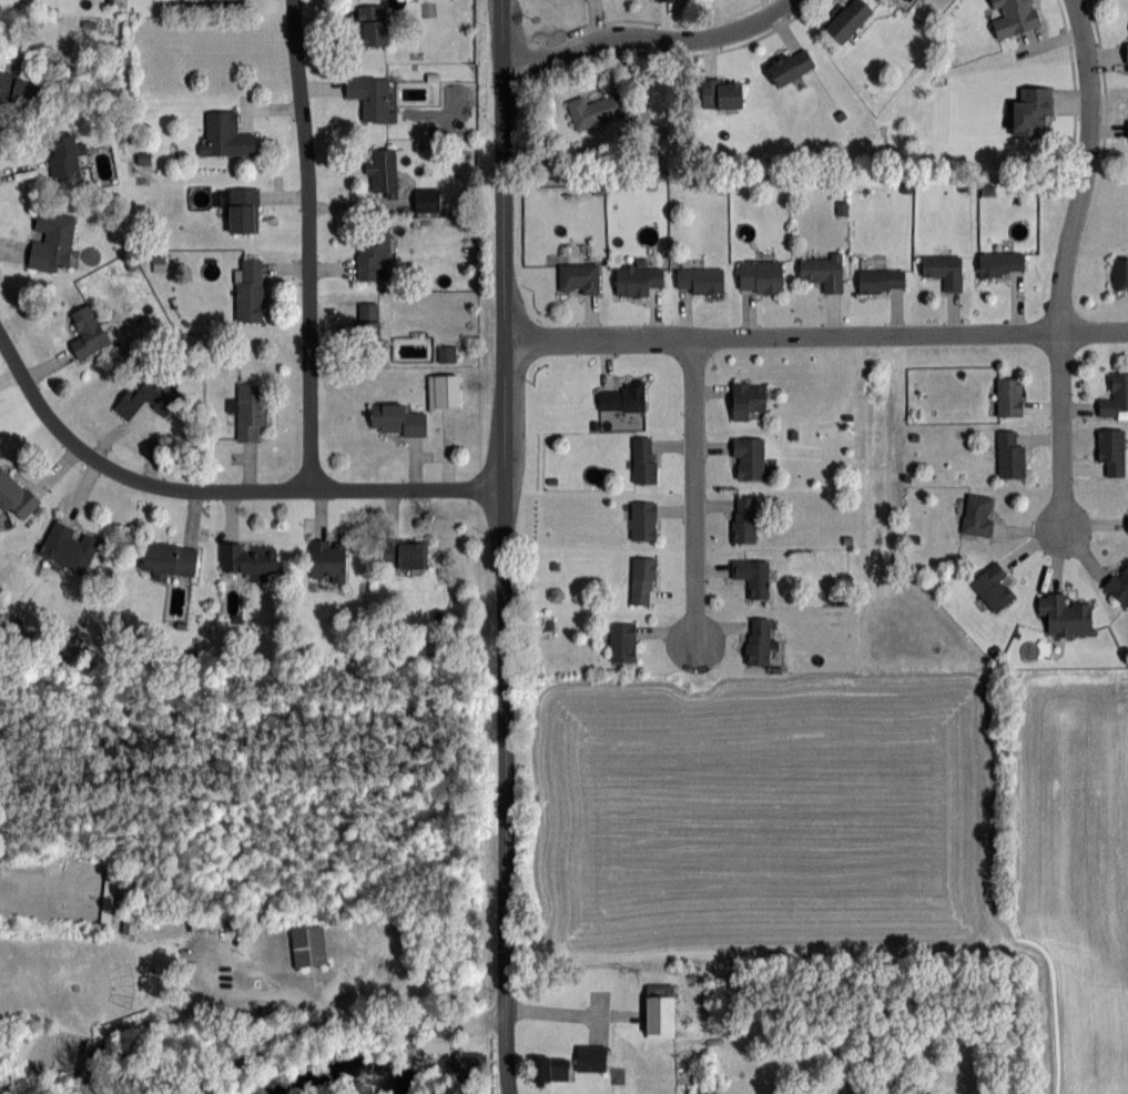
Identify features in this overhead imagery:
building: (665, 0)
building: (1015, 17)
building: (847, 19)
building: (373, 23)
road: (646, 31)
building: (1126, 55)
building: (791, 65)
building: (20, 90)
building: (722, 92)
building: (369, 95)
building: (596, 110)
building: (1032, 110)
building: (225, 135)
building: (64, 154)
road: (1087, 165)
building: (384, 171)
building: (426, 197)
building: (242, 210)
road: (306, 241)
building: (52, 242)
building: (373, 253)
building: (1002, 262)
building: (944, 270)
building: (823, 271)
building: (1120, 272)
building: (760, 276)
building: (578, 278)
building: (700, 280)
building: (881, 280)
building: (637, 281)
building: (248, 291)
building: (368, 327)
building: (88, 333)
road: (815, 334)
building: (447, 353)
building: (151, 391)
building: (444, 391)
building: (1009, 395)
building: (623, 396)
building: (1116, 396)
building: (748, 398)
building: (250, 408)
building: (395, 418)
road: (1063, 429)
building: (1111, 449)
building: (1009, 454)
building: (749, 456)
building: (644, 458)
road: (220, 486)
road: (697, 490)
building: (16, 496)
building: (978, 514)
building: (743, 517)
building: (643, 519)
building: (1127, 521)
building: (69, 547)
road: (502, 547)
building: (405, 553)
building: (247, 557)
building: (170, 559)
building: (328, 560)
building: (753, 576)
building: (642, 579)
building: (1119, 584)
building: (993, 586)
building: (1065, 614)
building: (622, 640)
building: (759, 640)
crop: (848, 828)
building: (109, 895)
building: (307, 946)
road: (369, 1015)
building: (659, 1015)
building: (590, 1057)
building: (468, 1062)
building: (549, 1067)
river: (339, 1073)

